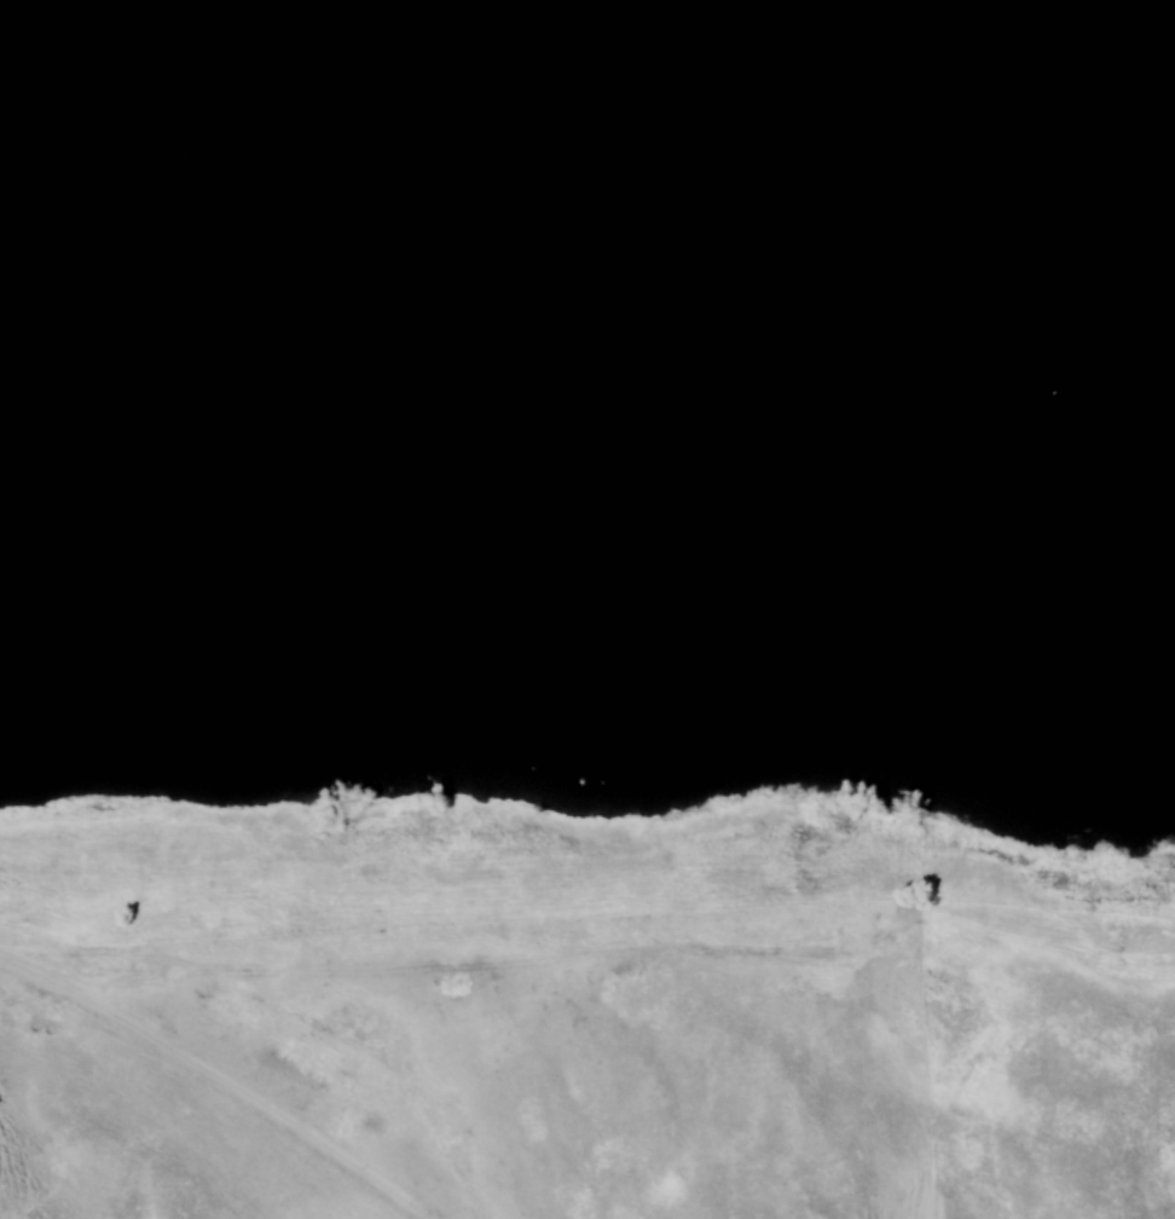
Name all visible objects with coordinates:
road: (204, 1092)

